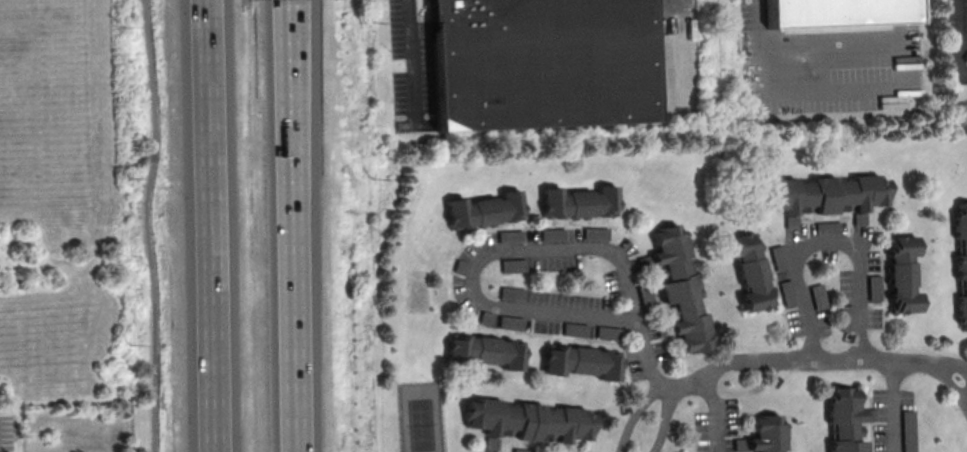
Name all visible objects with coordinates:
road: (665, 0)
building: (836, 13)
road: (757, 25)
road: (956, 39)
road: (411, 60)
building: (537, 63)
road: (903, 89)
building: (825, 193)
building: (579, 201)
building: (482, 209)
road: (147, 225)
road: (208, 226)
road: (291, 226)
building: (825, 227)
building: (596, 232)
building: (553, 233)
building: (510, 235)
road: (824, 240)
road: (517, 248)
building: (776, 257)
building: (961, 262)
building: (512, 265)
building: (748, 271)
building: (902, 274)
building: (873, 287)
building: (680, 288)
building: (645, 292)
building: (511, 293)
building: (786, 293)
building: (817, 296)
building: (845, 317)
building: (510, 321)
building: (575, 328)
building: (608, 332)
building: (483, 351)
road: (792, 359)
building: (579, 361)
road: (945, 363)
road: (947, 380)
road: (965, 400)
road: (894, 406)
road: (718, 412)
park: (420, 415)
road: (636, 415)
building: (529, 419)
road: (664, 421)
building: (844, 422)
building: (909, 432)
parking lot: (6, 434)
building: (767, 438)

